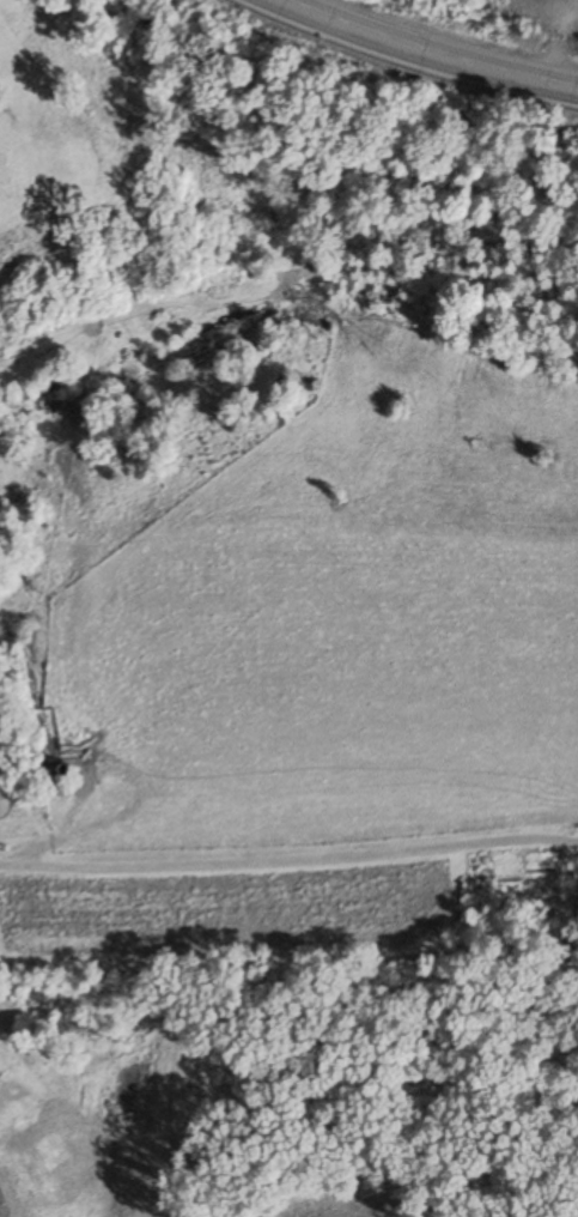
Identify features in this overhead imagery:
road: (428, 48)
road: (290, 859)

